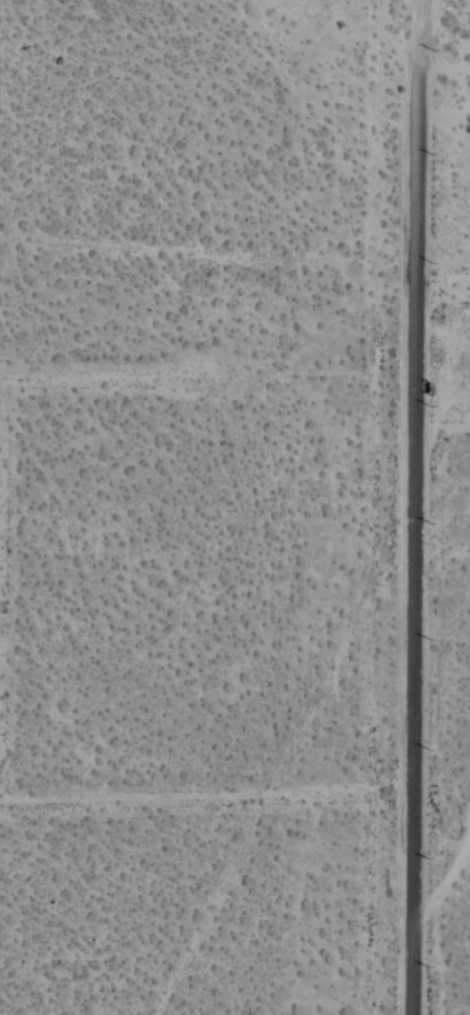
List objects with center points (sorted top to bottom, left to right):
road: (425, 29)
road: (104, 370)
road: (412, 536)
road: (202, 790)

